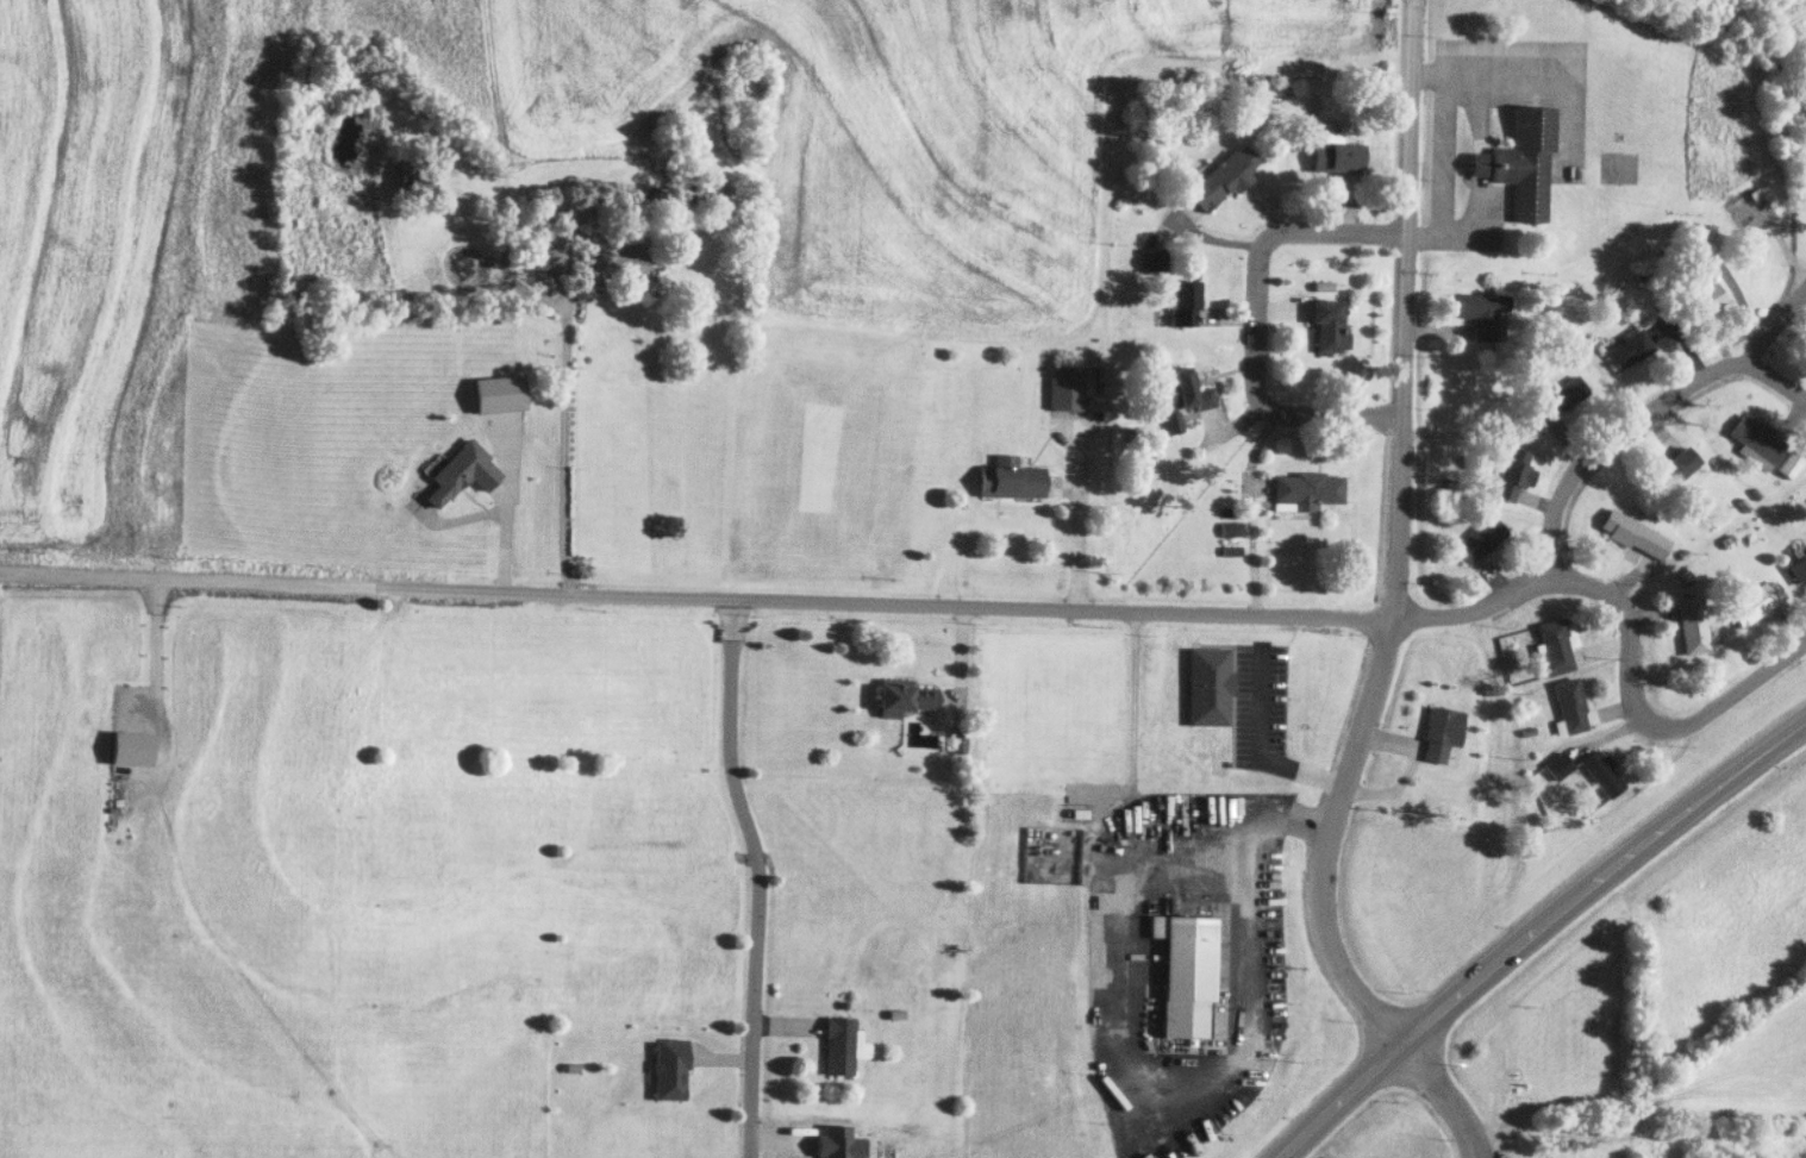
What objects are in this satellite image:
road: (1414, 4)
building: (1336, 156)
building: (1521, 162)
building: (1224, 176)
building: (412, 183)
building: (624, 267)
building: (1705, 299)
building: (1183, 302)
building: (1481, 312)
road: (1256, 319)
building: (1327, 325)
building: (1627, 349)
road: (1776, 377)
building: (1066, 387)
building: (1176, 396)
building: (1558, 396)
building: (1758, 440)
road: (1582, 459)
building: (1791, 461)
building: (1679, 465)
building: (461, 472)
building: (1513, 474)
building: (1011, 478)
building: (1307, 487)
building: (1635, 533)
building: (1480, 539)
building: (1799, 568)
road: (696, 596)
building: (1754, 601)
road: (1394, 612)
building: (1692, 625)
building: (1552, 647)
building: (1208, 686)
building: (904, 695)
building: (1569, 705)
road: (1642, 715)
building: (1441, 733)
building: (1557, 765)
building: (1602, 772)
road: (758, 875)
road: (1536, 931)
building: (1186, 972)
building: (839, 1044)

